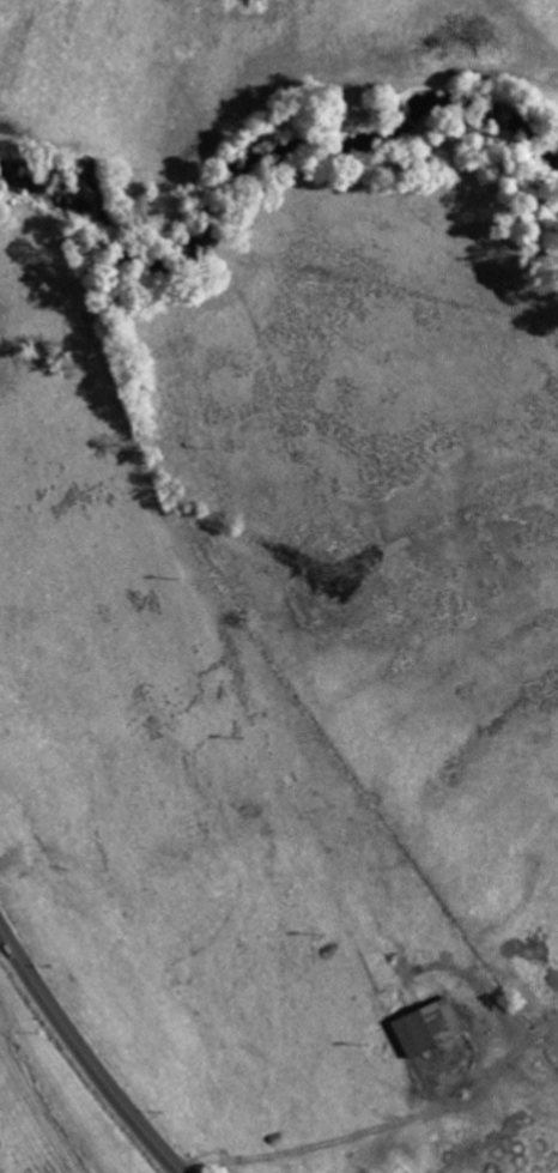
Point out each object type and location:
building: (425, 1026)
road: (85, 1053)

